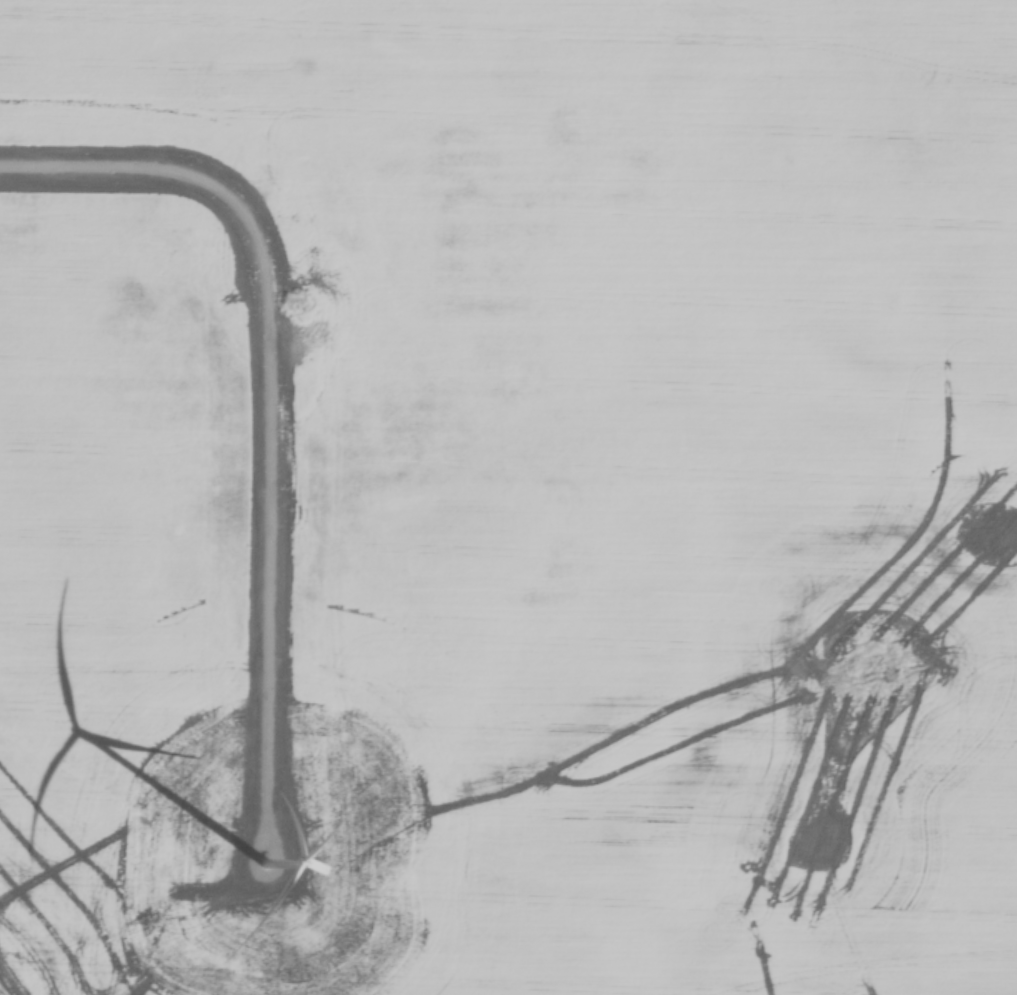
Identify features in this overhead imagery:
wind turbine: (265, 863)

